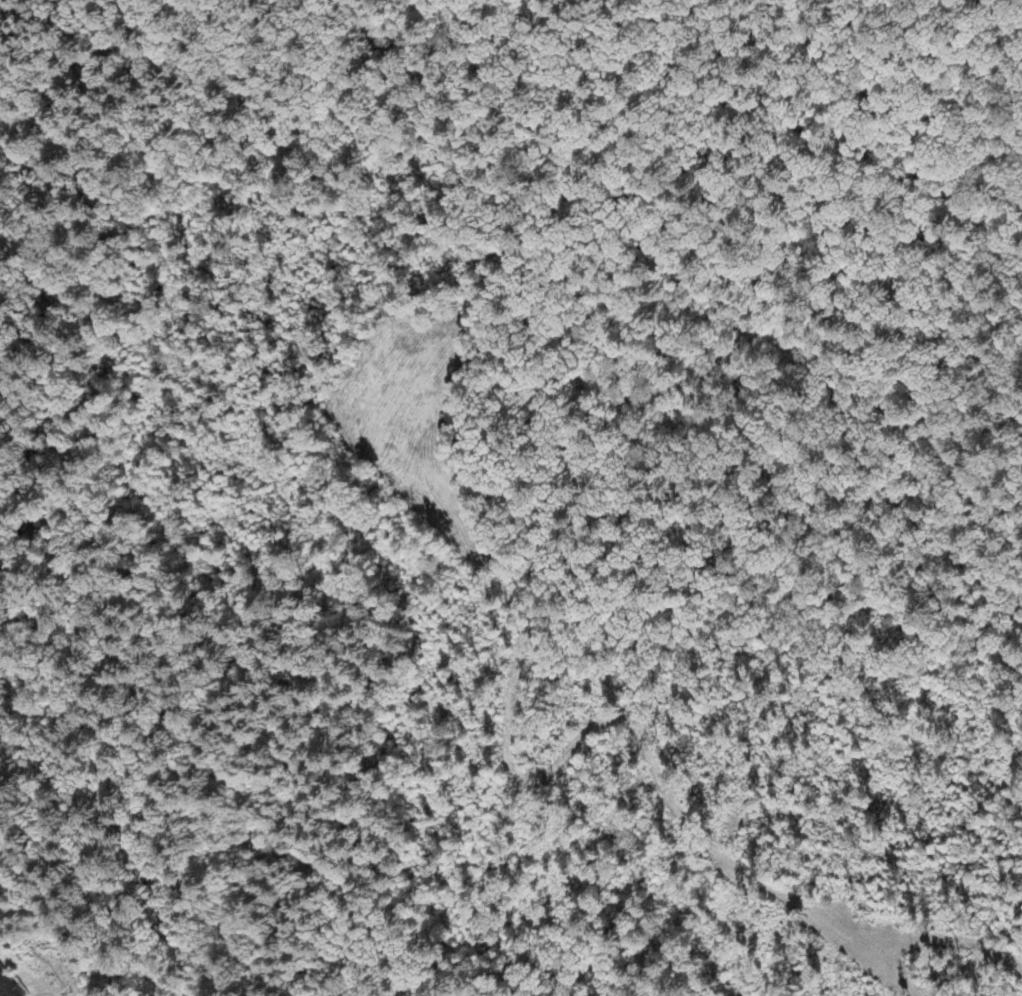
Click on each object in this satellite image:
road: (517, 663)
building: (6, 987)

